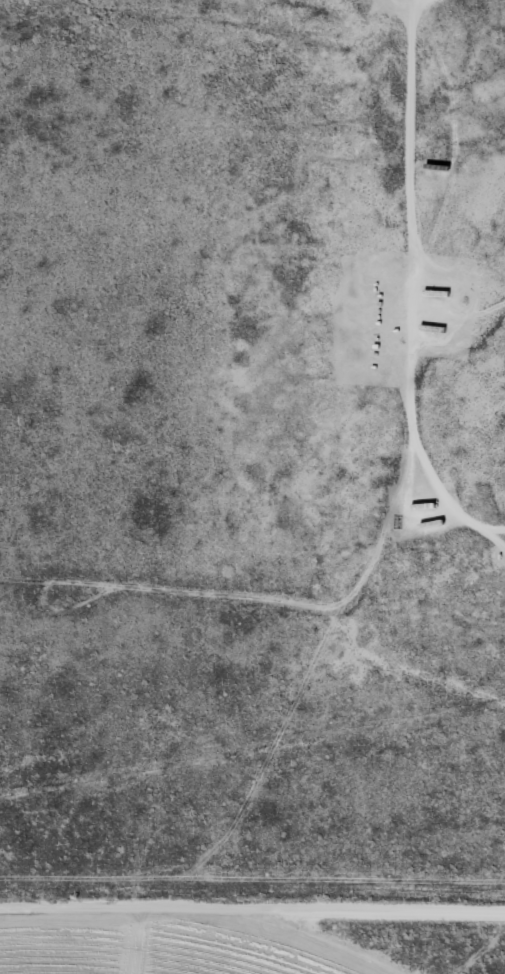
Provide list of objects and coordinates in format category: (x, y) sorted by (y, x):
road: (252, 905)

